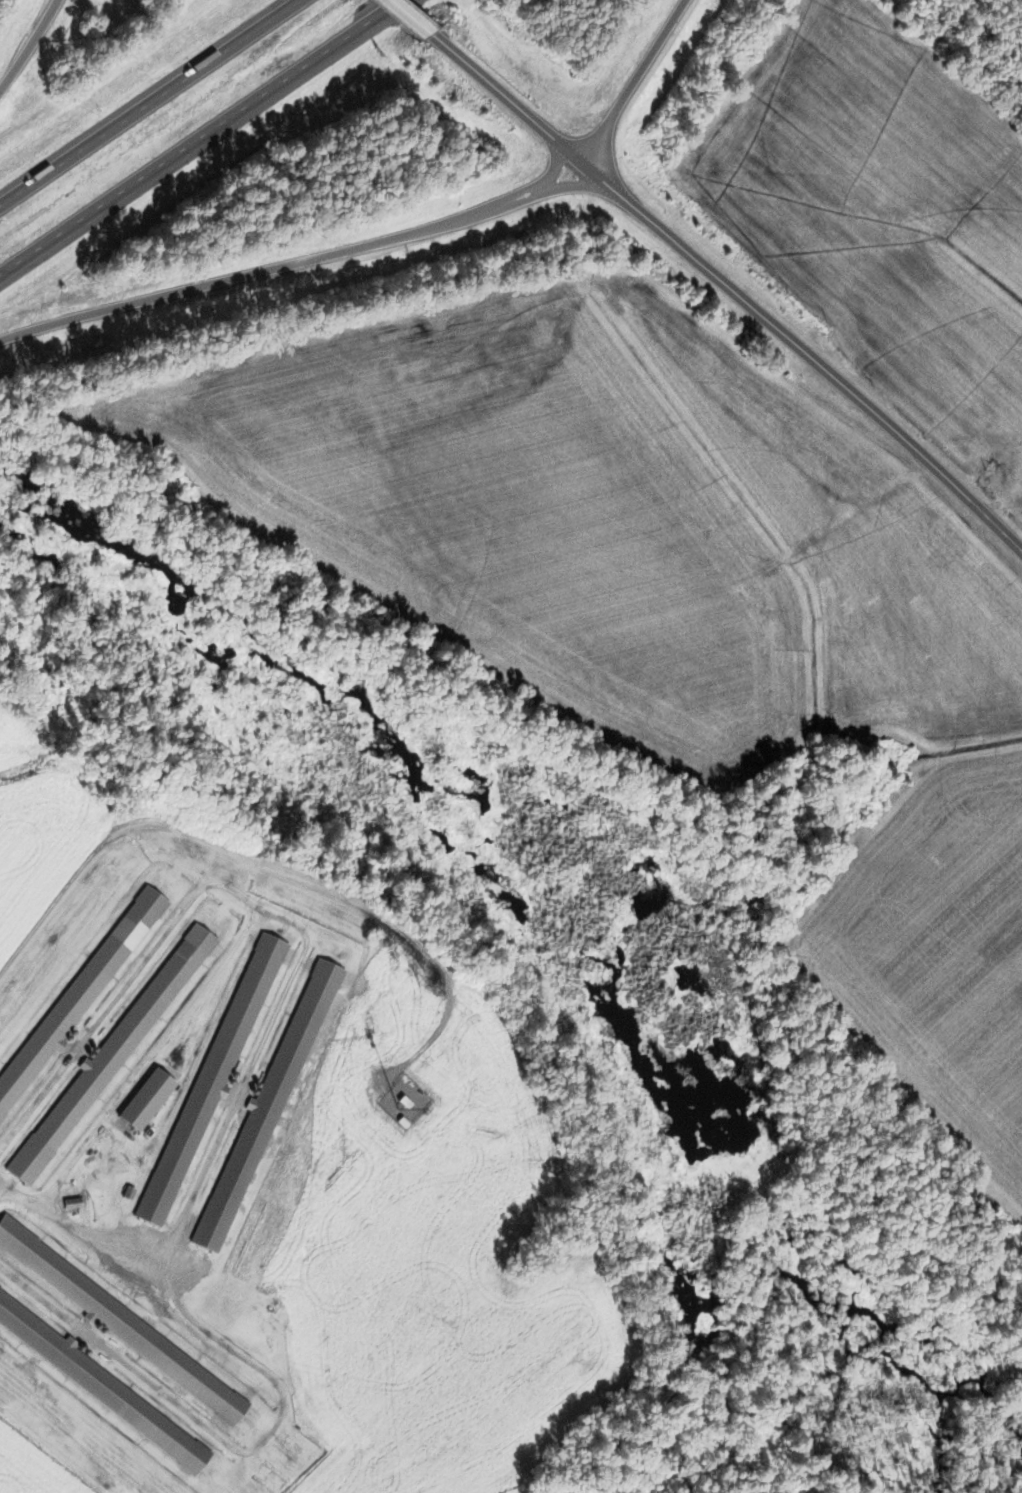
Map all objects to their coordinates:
road: (410, 21)
road: (30, 51)
road: (645, 87)
road: (514, 108)
road: (163, 110)
road: (207, 141)
road: (300, 274)
road: (812, 357)
building: (76, 998)
building: (106, 1062)
building: (211, 1080)
building: (146, 1100)
building: (122, 1324)
building: (99, 1384)

